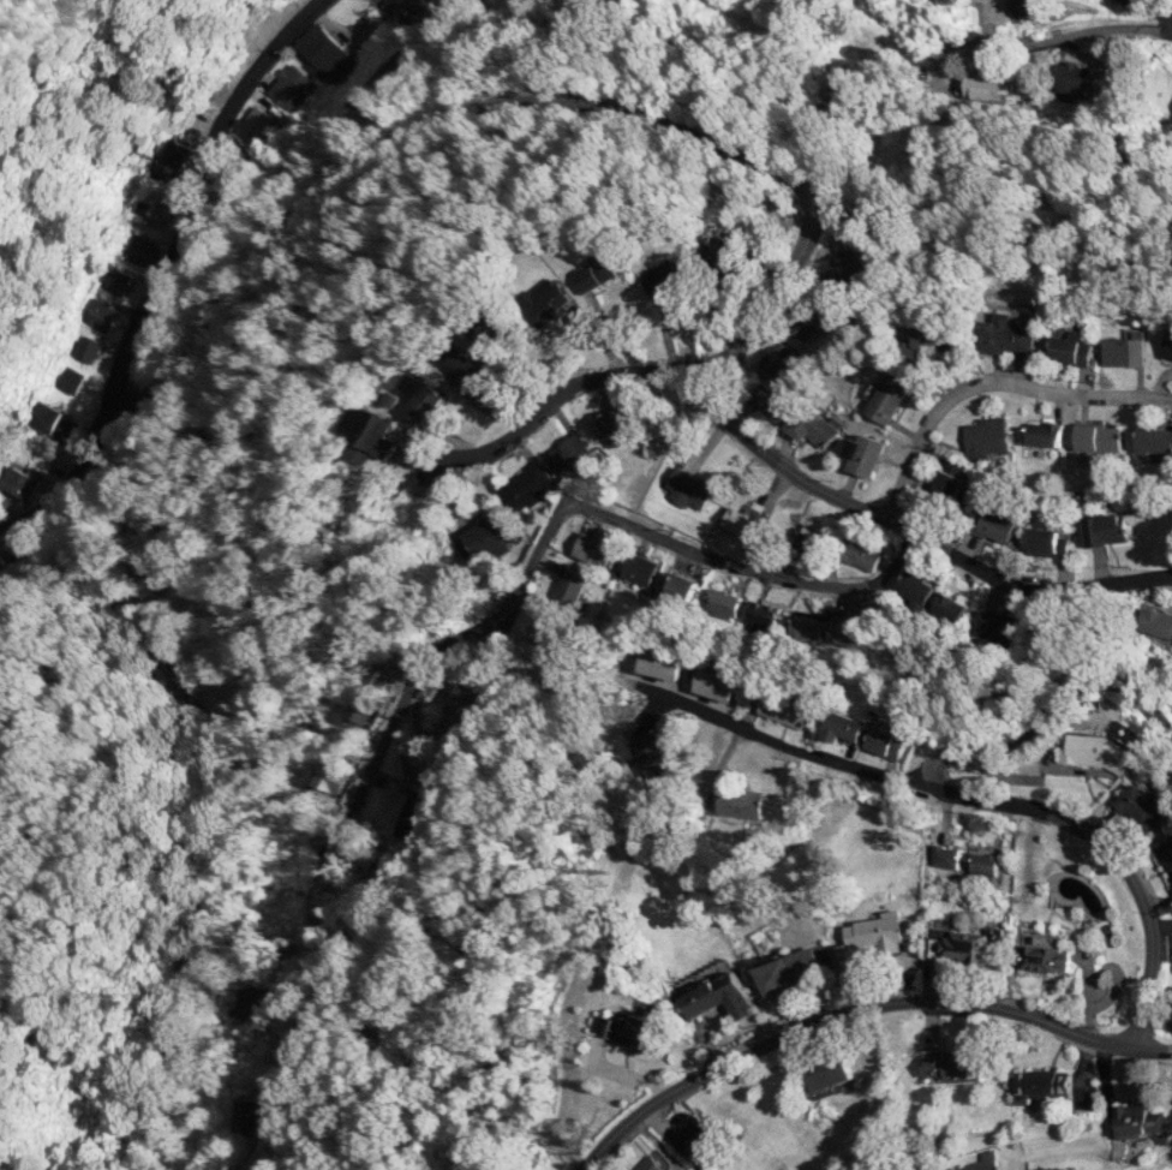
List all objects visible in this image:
building: (1022, 6)
building: (414, 10)
road: (1147, 12)
road: (1058, 38)
road: (379, 73)
building: (1070, 77)
building: (292, 85)
building: (985, 85)
building: (256, 125)
road: (401, 135)
building: (174, 157)
building: (161, 205)
building: (142, 247)
building: (856, 265)
road: (166, 267)
building: (592, 271)
building: (662, 275)
building: (116, 280)
building: (546, 299)
building: (803, 324)
building: (486, 332)
building: (1004, 334)
building: (928, 342)
building: (1167, 344)
building: (1070, 347)
building: (1118, 350)
building: (775, 356)
building: (466, 370)
road: (989, 382)
road: (556, 394)
building: (887, 395)
building: (419, 396)
building: (772, 401)
building: (609, 422)
building: (812, 424)
building: (1044, 432)
building: (985, 436)
building: (1098, 436)
building: (1153, 442)
building: (862, 453)
building: (567, 455)
building: (22, 479)
building: (946, 480)
road: (813, 483)
building: (527, 486)
building: (687, 486)
building: (749, 512)
building: (737, 523)
building: (995, 525)
building: (1105, 529)
road: (542, 536)
building: (483, 539)
building: (1047, 541)
building: (808, 544)
building: (592, 549)
building: (860, 553)
building: (639, 568)
building: (570, 585)
building: (680, 587)
building: (914, 589)
building: (720, 602)
building: (946, 608)
building: (761, 615)
building: (1154, 620)
building: (855, 622)
building: (995, 623)
building: (807, 626)
building: (551, 629)
building: (663, 664)
building: (716, 684)
building: (465, 697)
road: (1052, 698)
building: (364, 708)
building: (784, 709)
road: (245, 715)
building: (842, 726)
building: (452, 736)
road: (777, 739)
building: (884, 741)
building: (651, 752)
building: (1095, 753)
building: (333, 777)
building: (740, 802)
building: (1140, 807)
building: (414, 813)
road: (1108, 853)
building: (1166, 855)
building: (946, 856)
building: (983, 858)
building: (382, 870)
road: (323, 881)
building: (867, 937)
building: (967, 943)
building: (823, 956)
building: (1042, 957)
building: (788, 969)
building: (717, 996)
building: (252, 1002)
road: (855, 1007)
building: (629, 1029)
building: (953, 1064)
building: (830, 1071)
building: (1040, 1082)
building: (250, 1114)
building: (1138, 1118)
building: (693, 1135)
building: (648, 1163)

